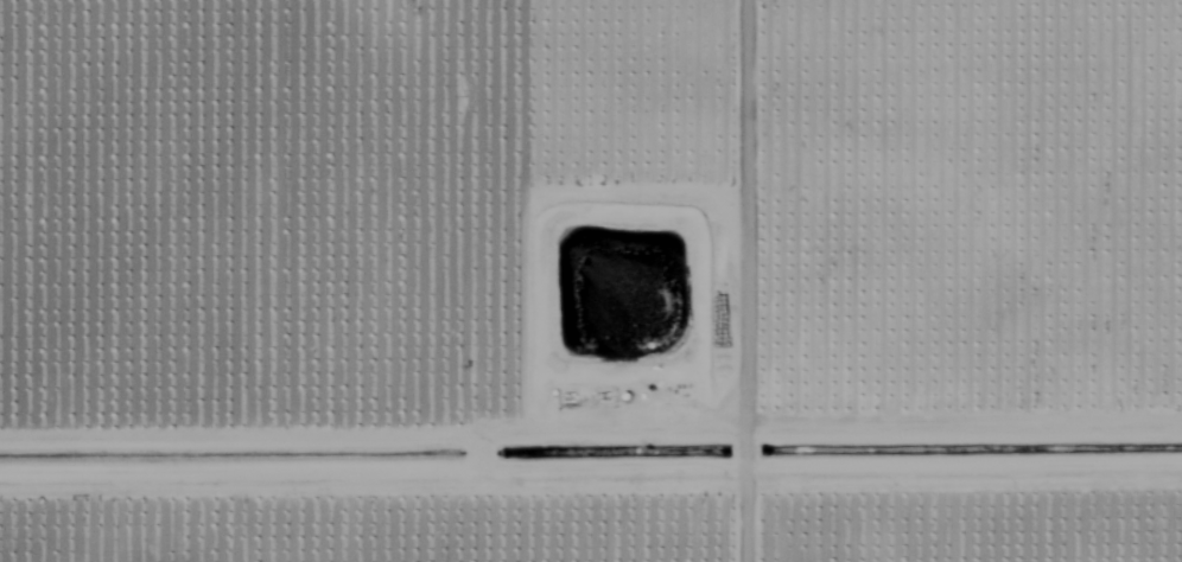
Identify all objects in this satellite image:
crop: (591, 281)
road: (591, 370)

